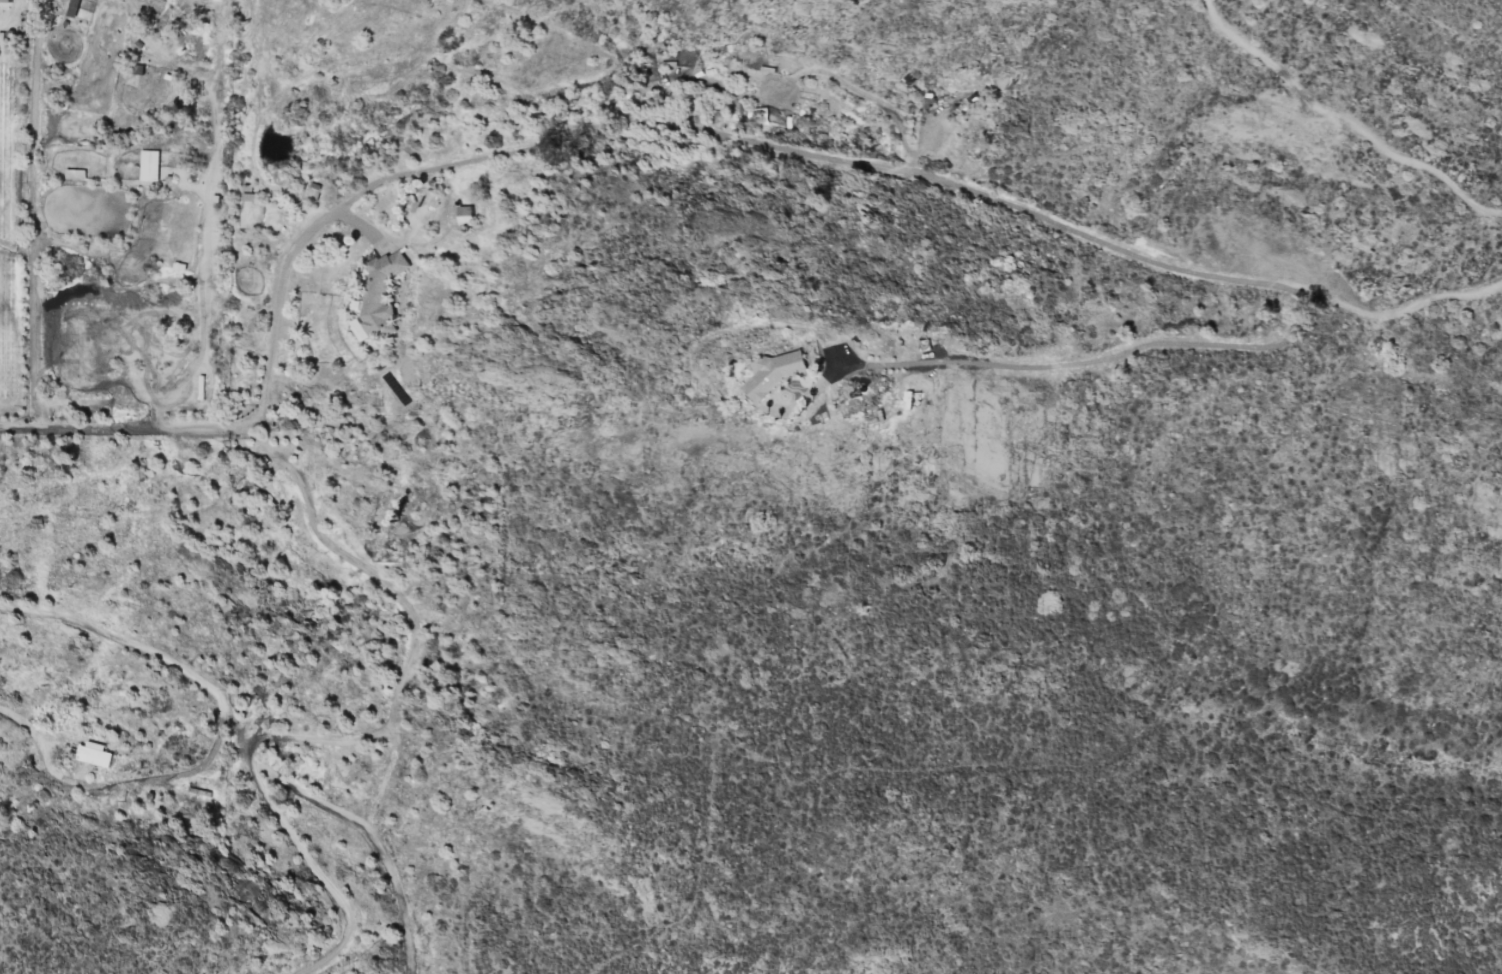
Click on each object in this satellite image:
building: (5, 0)
building: (80, 8)
building: (149, 164)
road: (949, 185)
road: (32, 213)
building: (464, 215)
road: (208, 221)
building: (377, 294)
building: (773, 372)
road: (124, 425)
road: (403, 670)
road: (217, 731)
building: (93, 753)
road: (267, 803)

